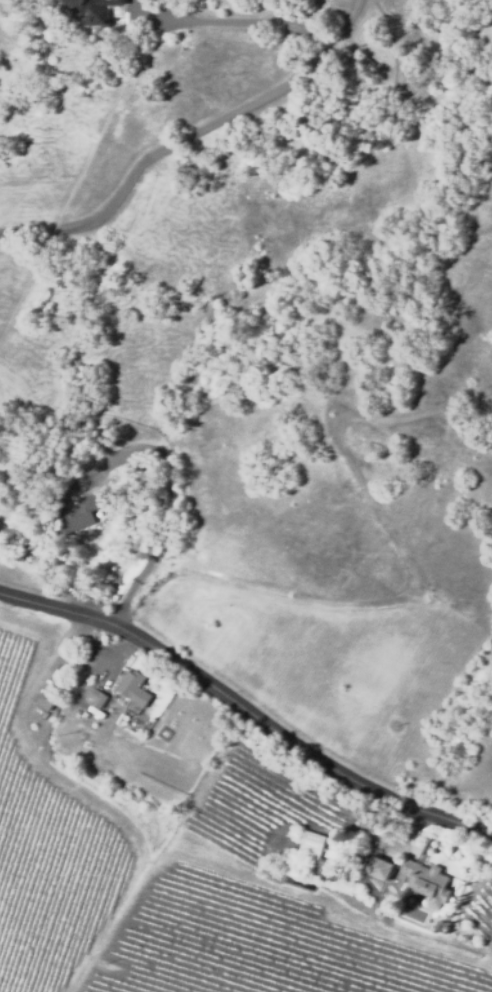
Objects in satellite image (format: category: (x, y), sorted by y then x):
building: (89, 11)
road: (235, 22)
road: (188, 135)
road: (165, 508)
building: (77, 515)
road: (56, 572)
building: (133, 687)
building: (98, 697)
building: (46, 700)
road: (247, 710)
building: (310, 844)
building: (377, 867)
building: (425, 881)
building: (441, 925)

